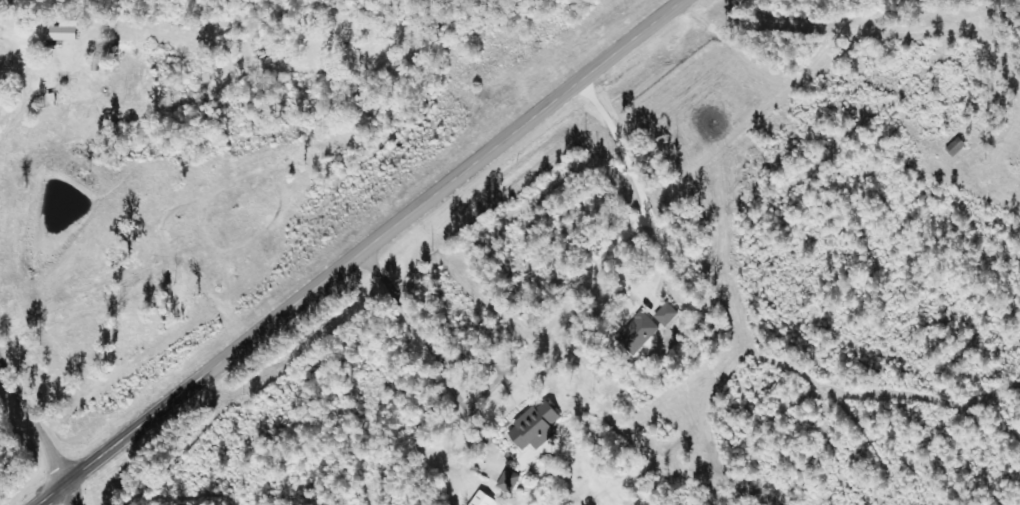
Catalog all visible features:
building: (952, 146)
road: (355, 252)
building: (660, 317)
building: (636, 332)
road: (32, 421)
building: (532, 426)
road: (71, 492)

